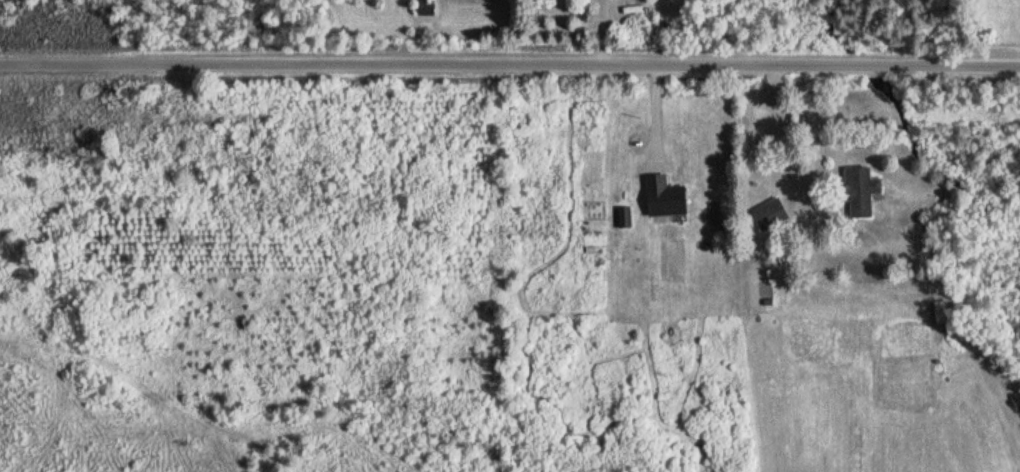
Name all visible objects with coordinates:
building: (423, 8)
road: (510, 65)
road: (774, 134)
building: (859, 192)
building: (663, 197)
building: (769, 215)
building: (940, 313)

